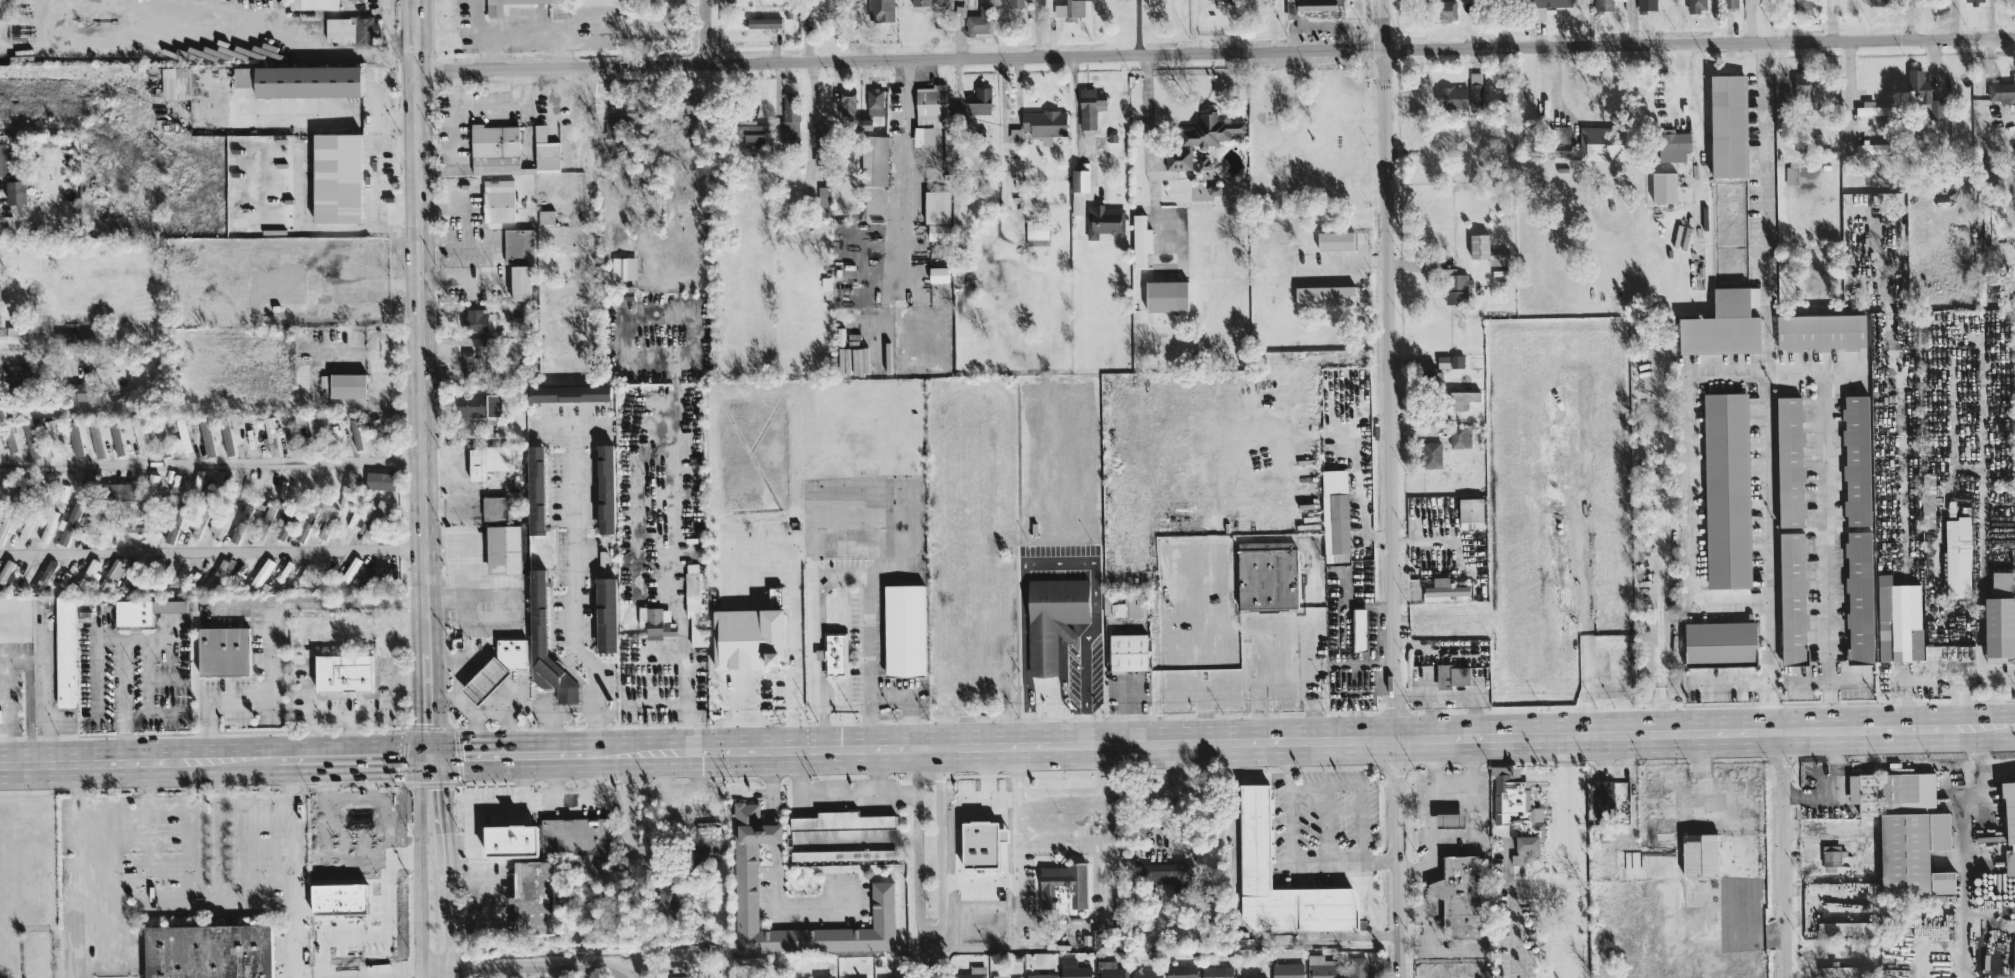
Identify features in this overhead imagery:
building: (1974, 0)
building: (920, 1)
building: (1014, 3)
building: (1730, 3)
building: (313, 4)
building: (1646, 4)
building: (1802, 4)
building: (1604, 5)
building: (1697, 5)
road: (147, 7)
building: (1074, 8)
building: (494, 9)
building: (880, 10)
building: (1313, 10)
building: (1445, 10)
building: (1538, 13)
building: (763, 21)
road: (1748, 22)
building: (976, 23)
road: (1137, 27)
building: (350, 29)
road: (807, 30)
road: (706, 31)
road: (523, 35)
road: (388, 38)
road: (1215, 52)
building: (298, 79)
building: (174, 82)
building: (1802, 85)
building: (1475, 88)
building: (1923, 92)
building: (2003, 92)
road: (1557, 93)
road: (1850, 94)
building: (1451, 97)
building: (847, 100)
building: (980, 100)
building: (874, 101)
road: (1076, 102)
building: (693, 106)
building: (1089, 106)
building: (1871, 109)
building: (929, 112)
building: (619, 114)
building: (788, 120)
building: (1044, 124)
building: (1728, 125)
building: (1015, 134)
building: (751, 136)
road: (813, 137)
building: (1200, 138)
building: (1560, 140)
road: (1702, 140)
building: (1605, 142)
building: (1535, 143)
building: (1673, 144)
building: (494, 148)
building: (1873, 148)
road: (1150, 150)
building: (545, 151)
building: (1, 158)
building: (874, 159)
road: (373, 167)
building: (335, 177)
building: (1664, 186)
building: (1079, 187)
building: (14, 191)
building: (823, 195)
building: (497, 200)
building: (940, 202)
road: (441, 207)
road: (902, 211)
building: (545, 216)
road: (33, 219)
building: (1993, 220)
building: (1102, 221)
building: (936, 231)
building: (1036, 232)
building: (1140, 240)
building: (1335, 240)
building: (518, 245)
building: (1486, 249)
building: (623, 267)
building: (938, 274)
building: (519, 282)
building: (1456, 287)
building: (1324, 294)
building: (1166, 295)
building: (479, 319)
building: (1723, 324)
road: (421, 325)
building: (1821, 331)
building: (19, 336)
building: (1450, 360)
building: (468, 361)
building: (28, 369)
road: (1806, 372)
building: (346, 385)
building: (77, 390)
building: (567, 393)
building: (474, 404)
building: (267, 422)
road: (570, 424)
building: (159, 430)
building: (181, 435)
building: (34, 436)
building: (1460, 436)
building: (115, 437)
building: (226, 437)
building: (357, 437)
building: (74, 438)
building: (139, 440)
building: (7, 441)
building: (1430, 453)
building: (486, 460)
building: (1791, 462)
building: (1858, 462)
road: (212, 463)
building: (197, 480)
building: (175, 483)
building: (150, 484)
building: (22, 488)
building: (603, 488)
building: (346, 489)
building: (533, 489)
road: (1390, 489)
building: (119, 491)
building: (1728, 491)
road: (1768, 496)
road: (845, 498)
building: (1928, 499)
building: (1653, 502)
building: (498, 509)
building: (331, 512)
building: (1471, 512)
building: (1335, 515)
building: (72, 519)
building: (177, 521)
building: (199, 521)
building: (265, 521)
building: (240, 523)
building: (283, 524)
building: (48, 525)
building: (133, 525)
building: (4, 527)
building: (300, 528)
road: (1898, 529)
building: (24, 530)
road: (879, 531)
road: (823, 539)
road: (1692, 546)
building: (502, 549)
road: (212, 550)
road: (1662, 554)
building: (1958, 557)
road: (1060, 562)
road: (1584, 562)
building: (222, 569)
building: (6, 571)
road: (869, 571)
building: (261, 572)
building: (45, 574)
building: (87, 574)
building: (1267, 575)
building: (170, 580)
building: (2003, 583)
building: (1445, 588)
road: (573, 590)
road: (318, 600)
building: (1795, 600)
building: (1861, 600)
building: (694, 604)
building: (1130, 605)
building: (130, 613)
building: (604, 614)
building: (1052, 619)
building: (1899, 620)
building: (655, 622)
building: (1999, 628)
building: (1359, 629)
building: (904, 630)
building: (748, 635)
road: (96, 639)
road: (793, 642)
road: (820, 642)
building: (544, 644)
building: (1722, 646)
building: (223, 650)
building: (65, 651)
building: (1128, 651)
building: (511, 652)
building: (833, 654)
road: (867, 658)
road: (20, 661)
road: (685, 664)
road: (455, 667)
building: (341, 672)
building: (1452, 675)
road: (41, 678)
road: (161, 679)
road: (412, 680)
building: (483, 680)
road: (1436, 693)
road: (146, 695)
road: (124, 698)
road: (257, 699)
road: (909, 699)
road: (431, 701)
road: (309, 705)
road: (509, 705)
road: (845, 707)
road: (1, 710)
road: (738, 710)
road: (380, 712)
road: (548, 727)
road: (505, 728)
road: (474, 731)
road: (351, 733)
road: (1305, 736)
road: (513, 750)
road: (1705, 750)
traffic signals: (432, 752)
road: (355, 753)
road: (139, 758)
road: (1434, 764)
road: (1685, 773)
road: (220, 779)
road: (145, 780)
road: (773, 785)
building: (1863, 792)
road: (1065, 793)
road: (1176, 794)
road: (895, 795)
building: (1603, 796)
road: (836, 797)
road: (1431, 798)
road: (189, 802)
road: (377, 807)
road: (633, 810)
road: (330, 811)
road: (445, 814)
building: (841, 820)
building: (1448, 820)
road: (1109, 825)
building: (2010, 827)
road: (774, 833)
building: (345, 835)
building: (1254, 835)
building: (1912, 835)
road: (855, 838)
road: (1021, 839)
building: (507, 841)
road: (915, 841)
building: (578, 843)
road: (942, 843)
road: (1977, 843)
road: (1782, 852)
road: (1288, 854)
road: (1565, 854)
building: (1700, 854)
building: (842, 855)
building: (1830, 857)
road: (1522, 859)
building: (745, 861)
road: (367, 862)
road: (418, 863)
road: (299, 865)
road: (82, 868)
building: (1159, 872)
building: (1062, 886)
building: (1458, 896)
building: (533, 897)
building: (667, 897)
road: (781, 904)
road: (161, 912)
road: (451, 927)
building: (1845, 928)
road: (1959, 942)
building: (206, 951)
road: (929, 958)
road: (523, 966)
building: (1322, 966)
building: (1355, 967)
building: (1074, 969)
building: (1110, 970)
building: (1181, 970)
building: (1287, 970)
building: (1841, 970)
building: (1216, 971)
building: (973, 972)
road: (365, 973)
building: (1146, 974)
building: (822, 975)
building: (1041, 975)
building: (678, 976)
building: (999, 976)
building: (898, 977)

